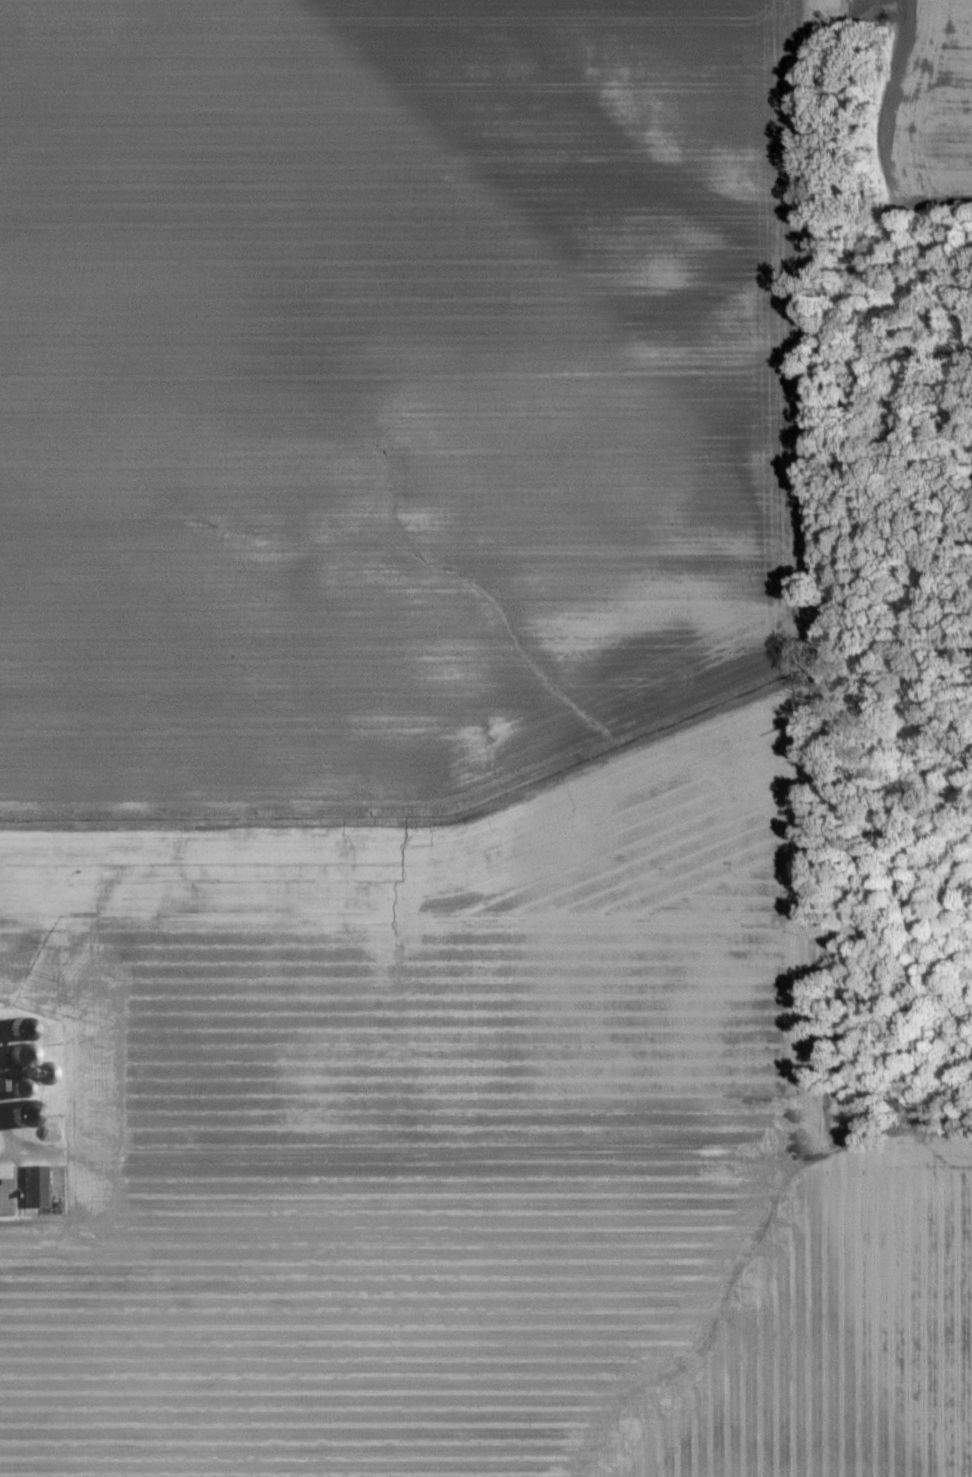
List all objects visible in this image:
building: (32, 1120)
building: (30, 1185)

